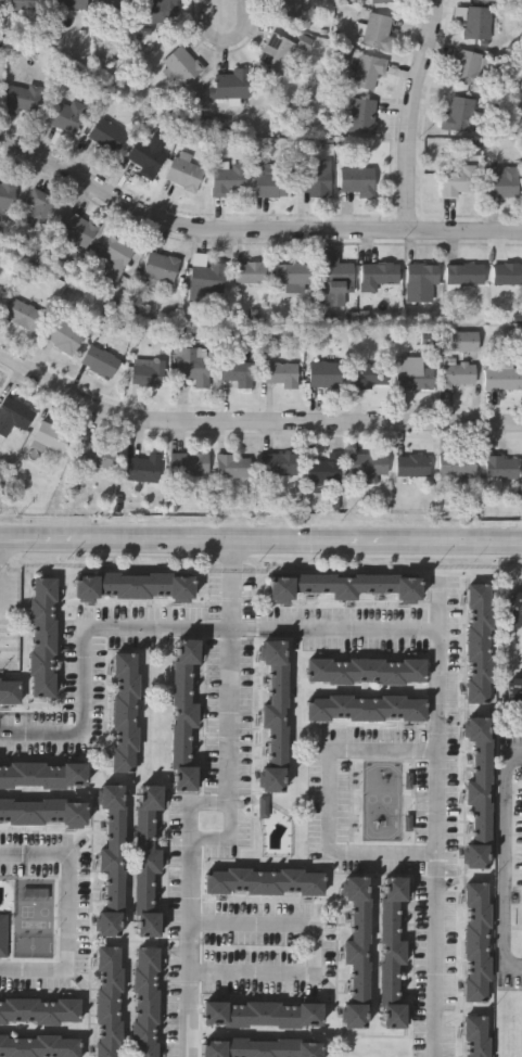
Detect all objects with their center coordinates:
building: (386, 0)
building: (1, 3)
building: (69, 3)
building: (114, 3)
building: (29, 4)
building: (287, 8)
building: (160, 10)
building: (478, 22)
building: (378, 30)
road: (229, 39)
building: (276, 51)
building: (181, 63)
building: (468, 67)
building: (368, 69)
building: (231, 82)
building: (22, 98)
building: (462, 113)
building: (66, 114)
building: (362, 114)
road: (416, 114)
building: (107, 132)
building: (147, 154)
building: (184, 170)
building: (313, 176)
building: (230, 178)
building: (271, 179)
building: (357, 179)
building: (501, 180)
building: (458, 181)
building: (7, 193)
building: (40, 204)
building: (77, 228)
road: (251, 230)
building: (114, 255)
building: (161, 266)
building: (252, 271)
building: (294, 272)
building: (507, 272)
building: (378, 273)
building: (464, 273)
building: (207, 276)
building: (336, 281)
building: (420, 281)
building: (23, 314)
building: (63, 334)
building: (464, 339)
building: (100, 360)
building: (194, 364)
building: (149, 370)
building: (238, 371)
building: (281, 371)
building: (326, 371)
building: (412, 371)
building: (369, 373)
building: (457, 373)
building: (502, 377)
building: (15, 411)
road: (253, 417)
building: (49, 436)
building: (97, 454)
building: (188, 461)
building: (278, 462)
building: (368, 462)
building: (232, 463)
building: (412, 463)
building: (457, 463)
building: (500, 466)
building: (143, 467)
building: (323, 468)
road: (260, 540)
road: (233, 556)
building: (344, 583)
building: (133, 584)
building: (514, 606)
road: (387, 631)
building: (43, 635)
building: (479, 640)
building: (367, 667)
building: (10, 689)
building: (517, 691)
building: (366, 705)
building: (125, 710)
building: (276, 711)
building: (183, 712)
building: (42, 772)
building: (479, 789)
road: (338, 803)
road: (204, 807)
building: (42, 810)
road: (231, 837)
building: (115, 857)
building: (149, 858)
road: (508, 865)
building: (265, 881)
park: (35, 917)
road: (79, 918)
building: (4, 934)
building: (476, 939)
road: (317, 946)
building: (360, 951)
building: (395, 953)
building: (109, 999)
building: (145, 1001)
building: (40, 1007)
building: (265, 1013)
building: (42, 1031)
building: (475, 1035)
building: (39, 1044)
building: (265, 1047)

